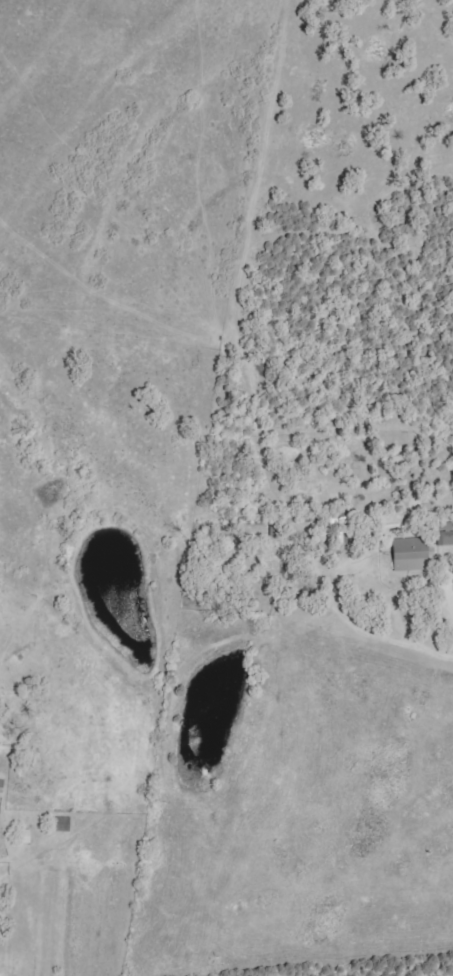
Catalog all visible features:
building: (445, 534)
building: (410, 555)
road: (403, 643)
building: (1, 786)
building: (62, 825)

